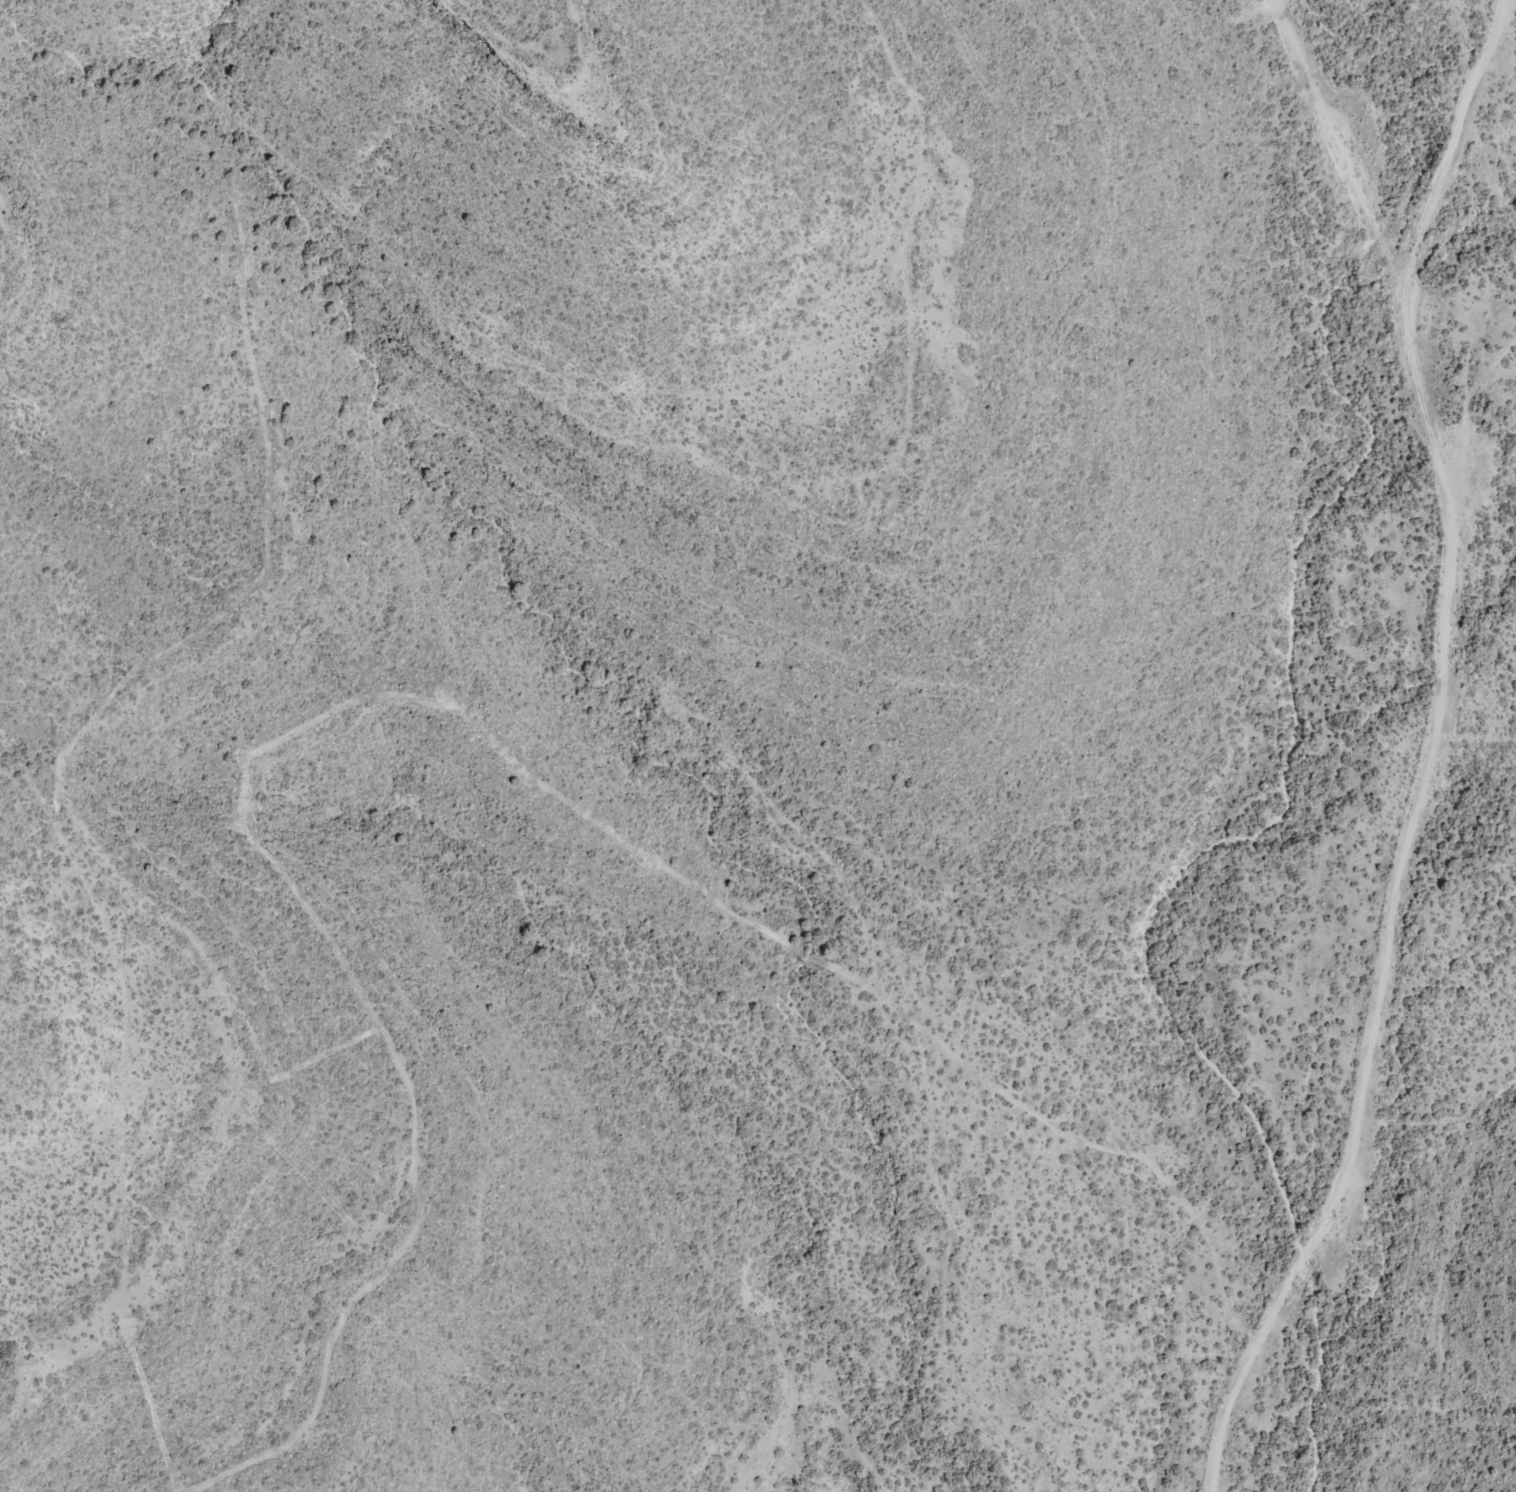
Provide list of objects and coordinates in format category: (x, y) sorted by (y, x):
road: (1461, 61)
road: (1480, 298)
road: (1449, 757)

